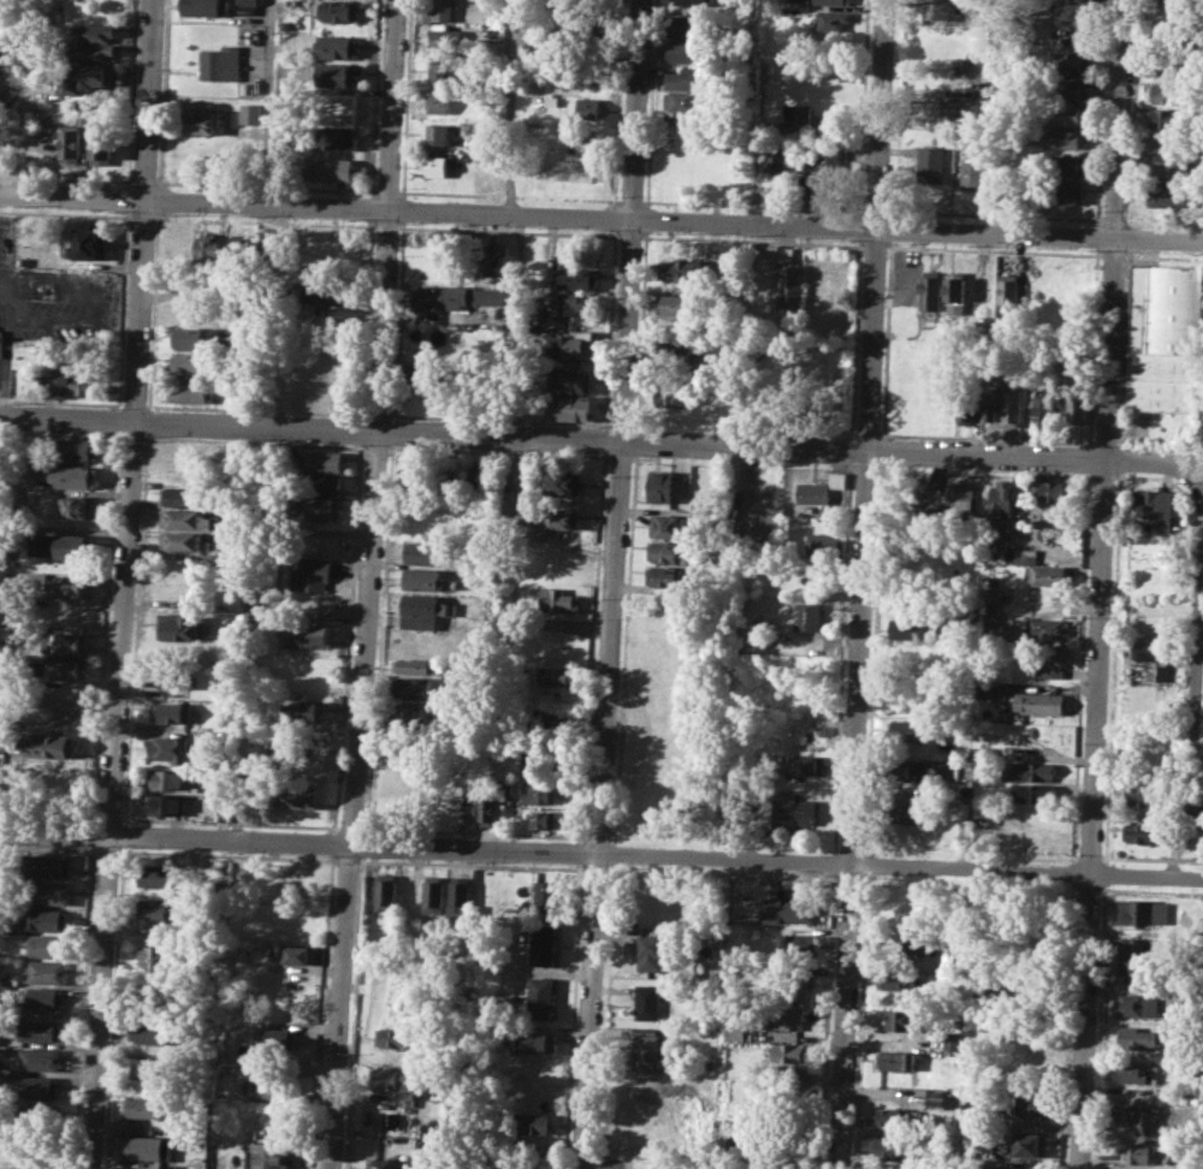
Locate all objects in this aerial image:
building: (798, 0)
building: (1186, 0)
building: (248, 1)
building: (695, 2)
building: (832, 2)
building: (205, 6)
building: (934, 8)
building: (339, 10)
building: (438, 10)
building: (1073, 12)
building: (831, 19)
building: (685, 25)
building: (93, 31)
building: (442, 38)
building: (334, 47)
building: (91, 51)
building: (682, 52)
building: (221, 63)
building: (1073, 64)
building: (438, 69)
building: (336, 75)
building: (588, 75)
building: (87, 77)
building: (687, 77)
building: (1072, 89)
road: (131, 90)
road: (161, 90)
building: (1174, 91)
building: (683, 100)
road: (271, 102)
building: (438, 102)
road: (512, 106)
building: (962, 106)
building: (587, 108)
building: (250, 112)
building: (798, 114)
building: (1071, 114)
building: (1172, 118)
building: (201, 121)
building: (435, 132)
building: (331, 137)
building: (1065, 138)
building: (6, 140)
building: (587, 141)
building: (70, 146)
building: (101, 147)
building: (776, 158)
building: (823, 162)
building: (928, 162)
building: (434, 164)
building: (1063, 165)
building: (1173, 167)
building: (328, 168)
building: (972, 173)
road: (65, 177)
road: (143, 180)
road: (266, 184)
road: (386, 190)
building: (1062, 190)
road: (509, 194)
building: (1174, 194)
road: (158, 198)
road: (630, 201)
road: (753, 204)
road: (875, 209)
road: (126, 213)
road: (125, 215)
road: (1097, 215)
road: (601, 216)
building: (90, 243)
road: (125, 248)
building: (330, 248)
building: (207, 250)
building: (241, 251)
building: (273, 254)
building: (494, 255)
building: (680, 268)
building: (788, 275)
building: (575, 278)
building: (322, 291)
building: (956, 292)
building: (1007, 292)
building: (930, 295)
road: (90, 296)
building: (433, 297)
building: (568, 302)
building: (674, 304)
parking lot: (51, 310)
road: (153, 311)
building: (189, 314)
building: (327, 319)
building: (189, 337)
building: (1163, 337)
building: (0, 342)
building: (568, 344)
road: (7, 354)
building: (189, 364)
building: (423, 374)
building: (569, 379)
building: (76, 382)
building: (191, 391)
building: (670, 397)
building: (990, 398)
road: (58, 400)
building: (1013, 402)
building: (965, 404)
building: (1073, 404)
building: (569, 407)
building: (1043, 407)
road: (115, 420)
road: (147, 420)
road: (117, 435)
road: (131, 435)
road: (605, 439)
building: (76, 449)
building: (324, 461)
building: (186, 474)
building: (75, 475)
building: (446, 475)
building: (480, 476)
building: (413, 479)
building: (563, 482)
building: (322, 483)
building: (666, 486)
building: (745, 491)
building: (811, 491)
building: (1056, 491)
building: (185, 497)
building: (962, 497)
building: (1003, 497)
building: (77, 505)
building: (1156, 508)
building: (319, 509)
building: (557, 517)
building: (184, 518)
building: (669, 526)
building: (179, 540)
building: (823, 542)
building: (71, 545)
building: (423, 552)
building: (668, 552)
building: (1025, 556)
road: (107, 570)
building: (309, 574)
building: (664, 575)
building: (1049, 575)
building: (421, 578)
road: (859, 583)
road: (1101, 583)
road: (123, 584)
road: (366, 584)
road: (611, 584)
building: (71, 586)
building: (990, 593)
building: (558, 599)
building: (419, 604)
building: (989, 611)
building: (806, 616)
road: (1198, 619)
road: (134, 628)
building: (182, 628)
building: (909, 629)
building: (1048, 630)
building: (304, 633)
road: (345, 635)
building: (67, 642)
building: (1149, 652)
building: (1044, 659)
building: (411, 665)
building: (66, 667)
building: (174, 676)
building: (557, 676)
building: (411, 687)
building: (985, 689)
building: (60, 696)
building: (1039, 702)
building: (301, 711)
building: (171, 712)
building: (407, 717)
building: (908, 728)
building: (813, 737)
building: (49, 744)
building: (280, 747)
building: (168, 748)
building: (802, 762)
building: (942, 769)
building: (903, 770)
building: (1029, 771)
building: (166, 779)
building: (1033, 793)
building: (505, 794)
building: (539, 794)
building: (295, 795)
building: (1146, 795)
building: (162, 802)
building: (980, 808)
building: (486, 809)
building: (962, 809)
building: (793, 811)
road: (47, 814)
building: (911, 814)
road: (106, 817)
building: (543, 818)
road: (91, 832)
building: (1143, 832)
road: (122, 833)
road: (601, 853)
building: (47, 865)
building: (159, 874)
building: (285, 880)
building: (383, 891)
building: (405, 891)
building: (45, 892)
building: (429, 892)
building: (545, 895)
building: (455, 896)
building: (155, 908)
building: (789, 909)
building: (1144, 912)
building: (43, 919)
building: (919, 942)
building: (796, 943)
building: (543, 944)
building: (43, 945)
building: (650, 953)
building: (297, 954)
building: (1127, 956)
building: (155, 957)
building: (43, 971)
building: (900, 978)
building: (8, 979)
building: (790, 990)
building: (540, 997)
building: (41, 998)
building: (1138, 999)
building: (647, 1001)
road: (82, 1007)
road: (112, 1007)
building: (782, 1017)
building: (901, 1019)
building: (38, 1029)
building: (148, 1031)
building: (735, 1032)
building: (1137, 1037)
building: (278, 1038)
building: (389, 1038)
building: (950, 1040)
building: (538, 1042)
building: (651, 1052)
building: (789, 1052)
building: (37, 1058)
building: (894, 1060)
building: (710, 1063)
building: (148, 1068)
building: (1132, 1072)
building: (392, 1082)
building: (38, 1087)
building: (272, 1090)
building: (942, 1097)
building: (1031, 1104)
building: (141, 1106)
building: (889, 1116)
building: (1136, 1121)
building: (532, 1123)
building: (1029, 1145)
building: (146, 1147)
building: (889, 1149)
building: (1139, 1153)
building: (269, 1156)
road: (595, 1162)
building: (383, 1163)

